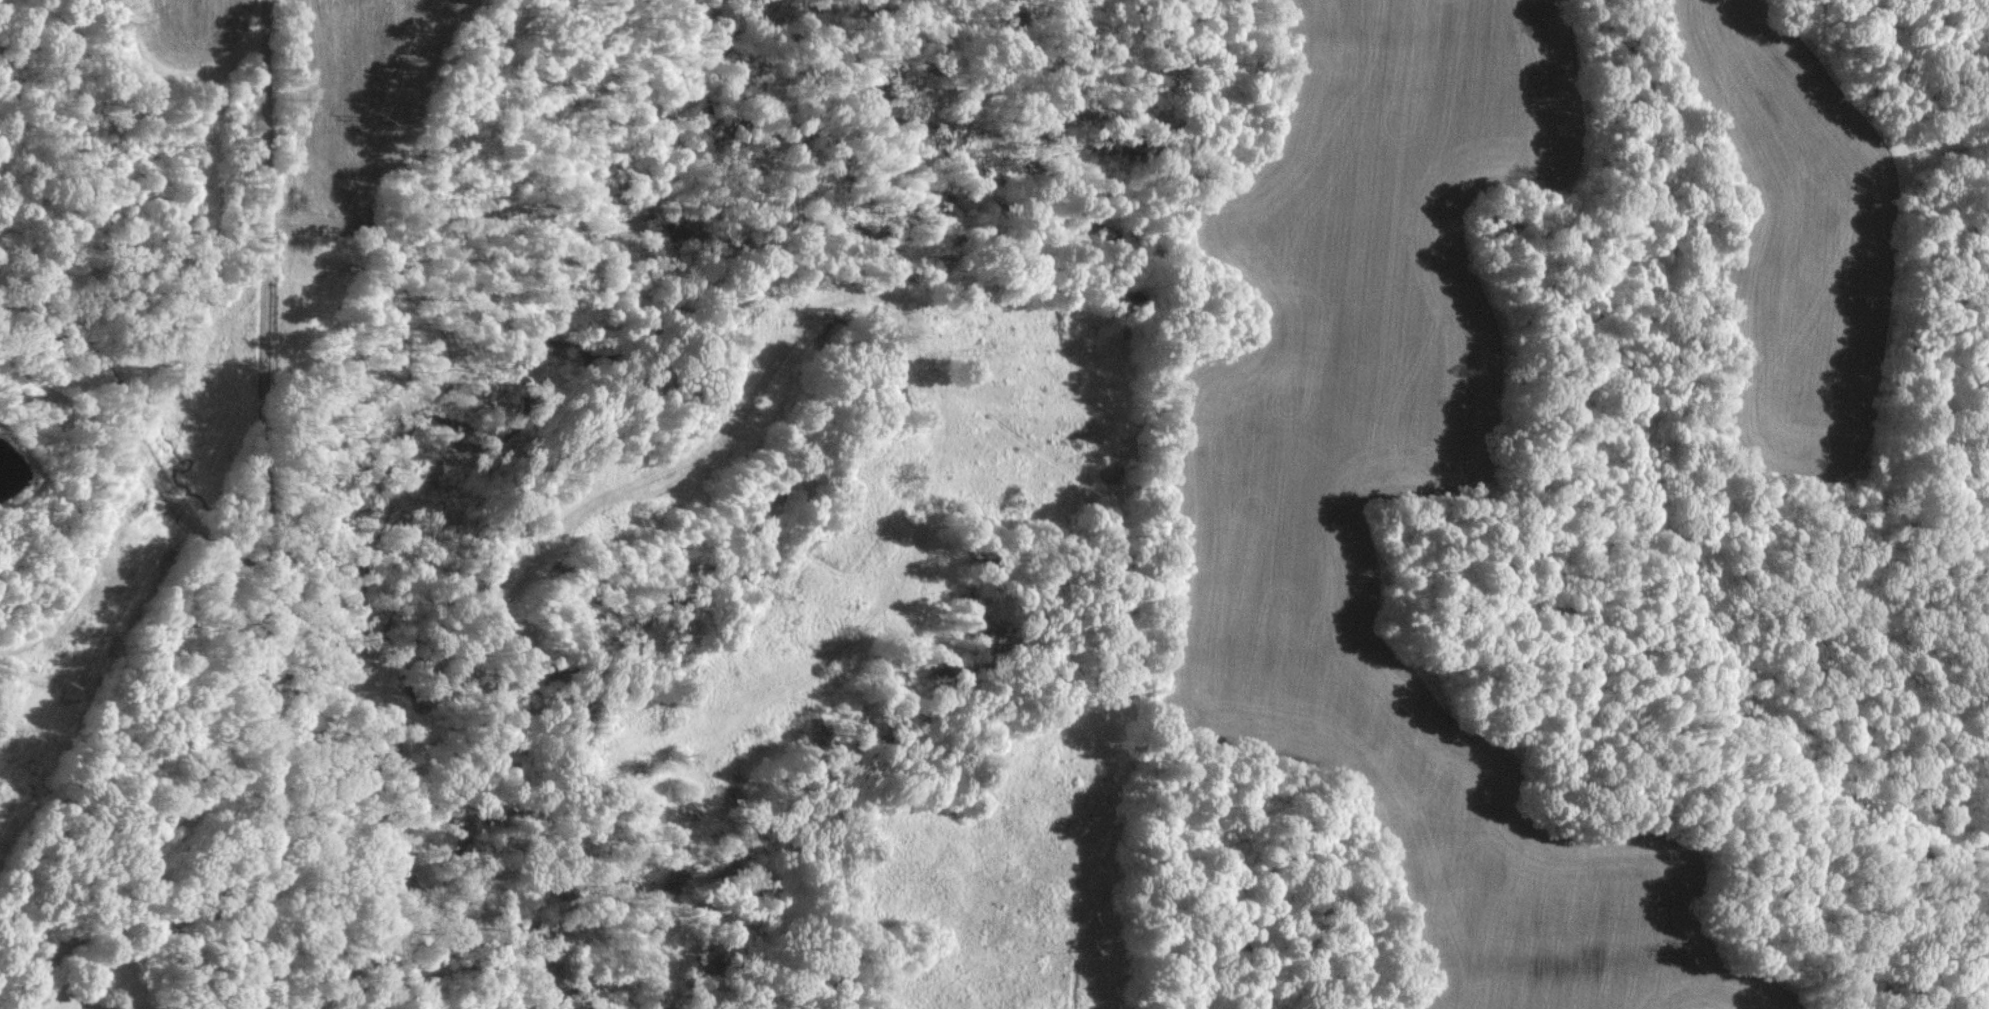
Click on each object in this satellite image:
power tower: (388, 116)
power tower: (242, 360)
road: (145, 446)
road: (260, 592)
power tower: (63, 681)

